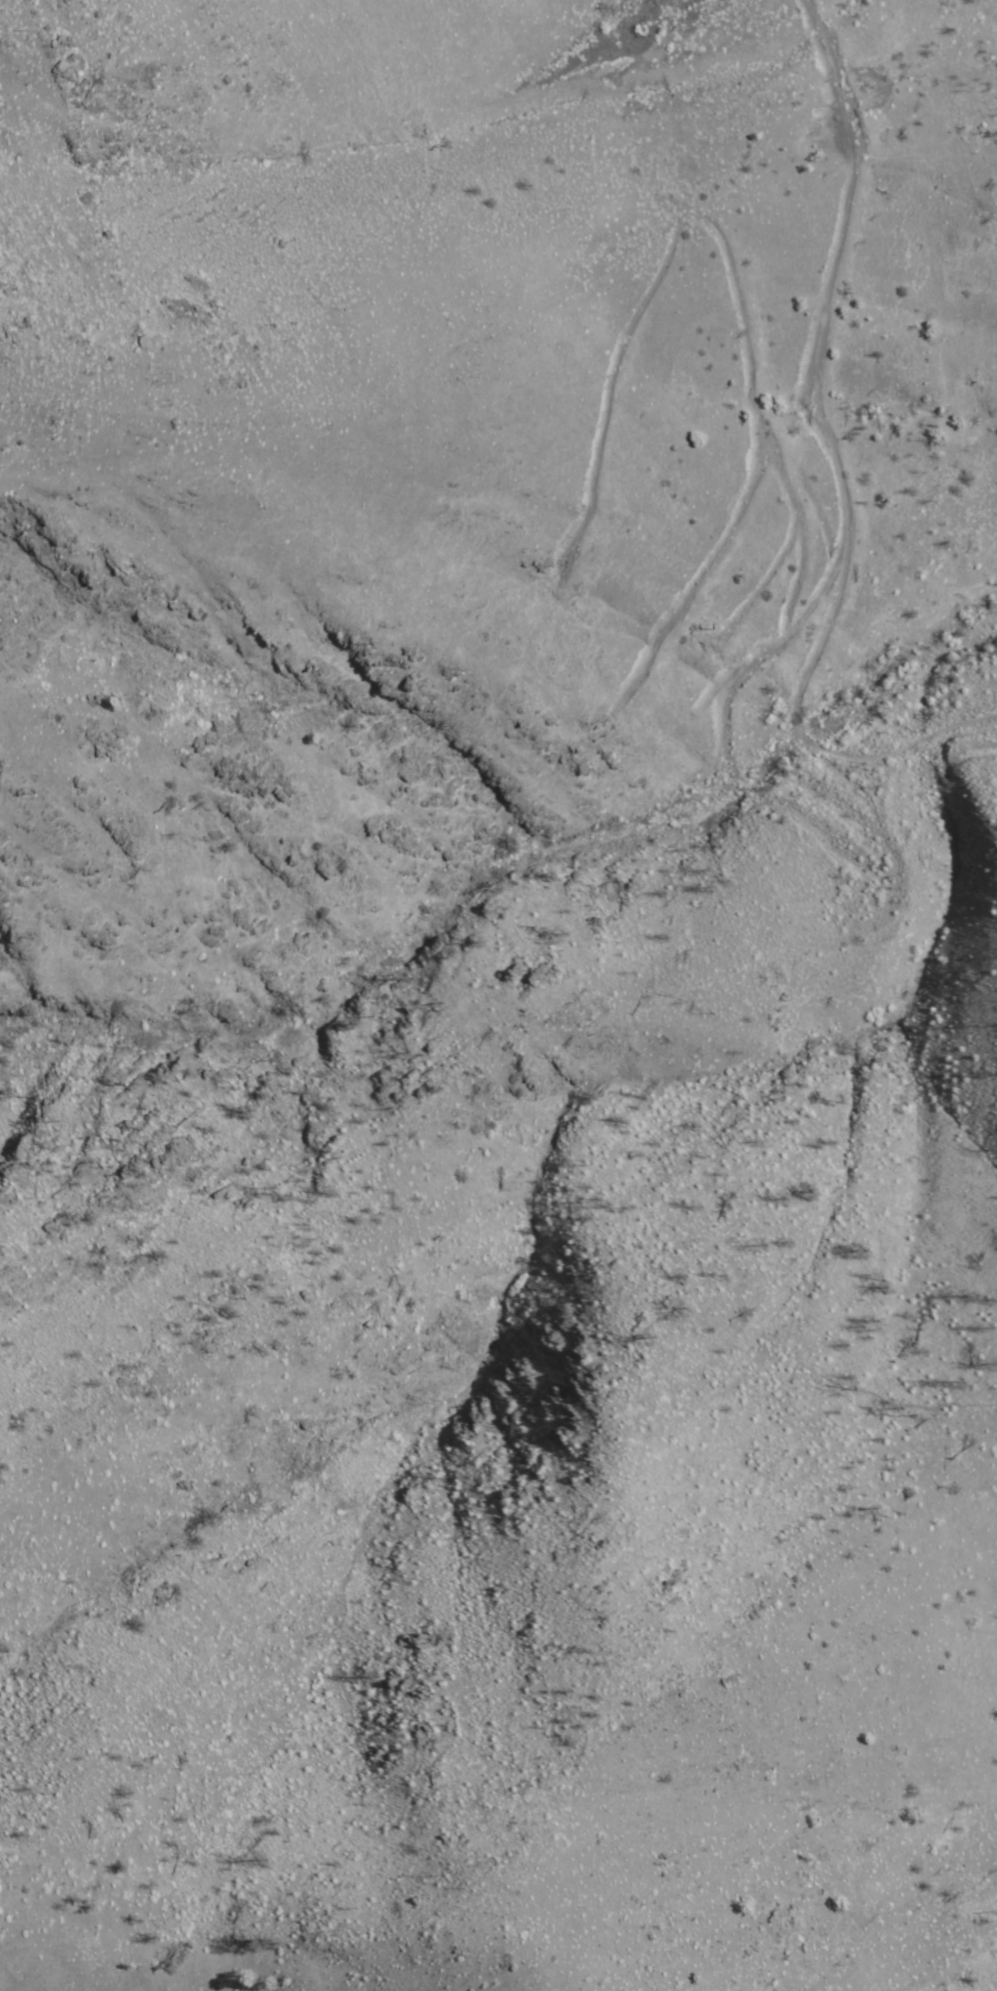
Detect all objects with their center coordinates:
road: (766, 385)

